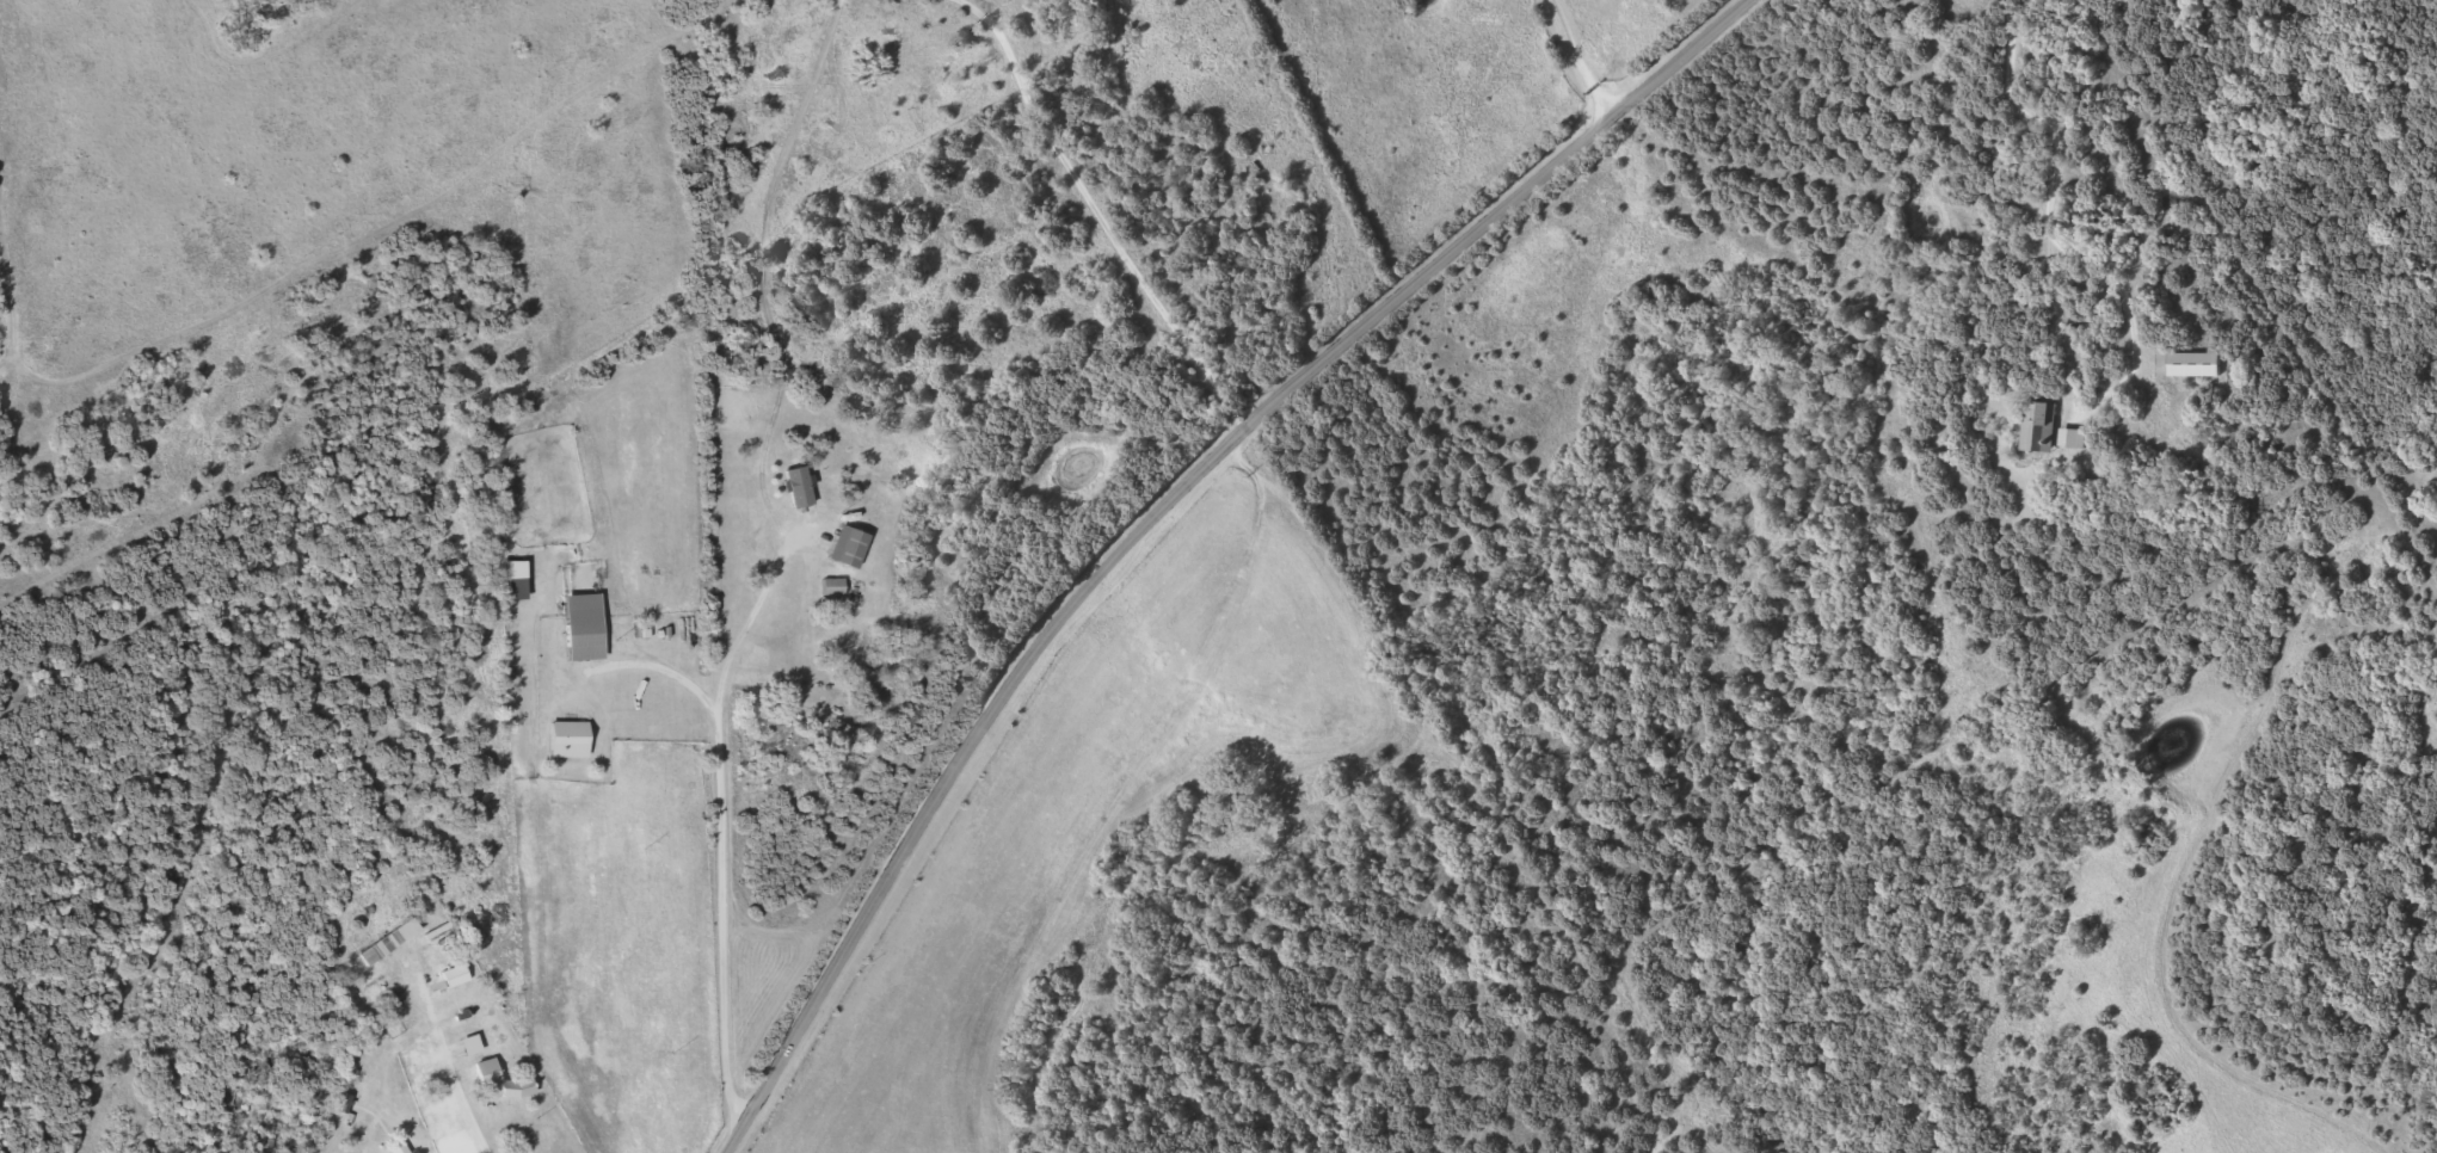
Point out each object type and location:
road: (1581, 61)
road: (2049, 214)
road: (1099, 217)
road: (150, 358)
building: (2196, 363)
building: (2039, 427)
building: (2073, 439)
building: (799, 487)
road: (1168, 508)
building: (847, 547)
road: (661, 563)
building: (833, 587)
building: (517, 588)
building: (584, 627)
building: (568, 739)
building: (387, 942)
road: (166, 963)
building: (450, 964)
road: (450, 1079)
building: (491, 1084)

